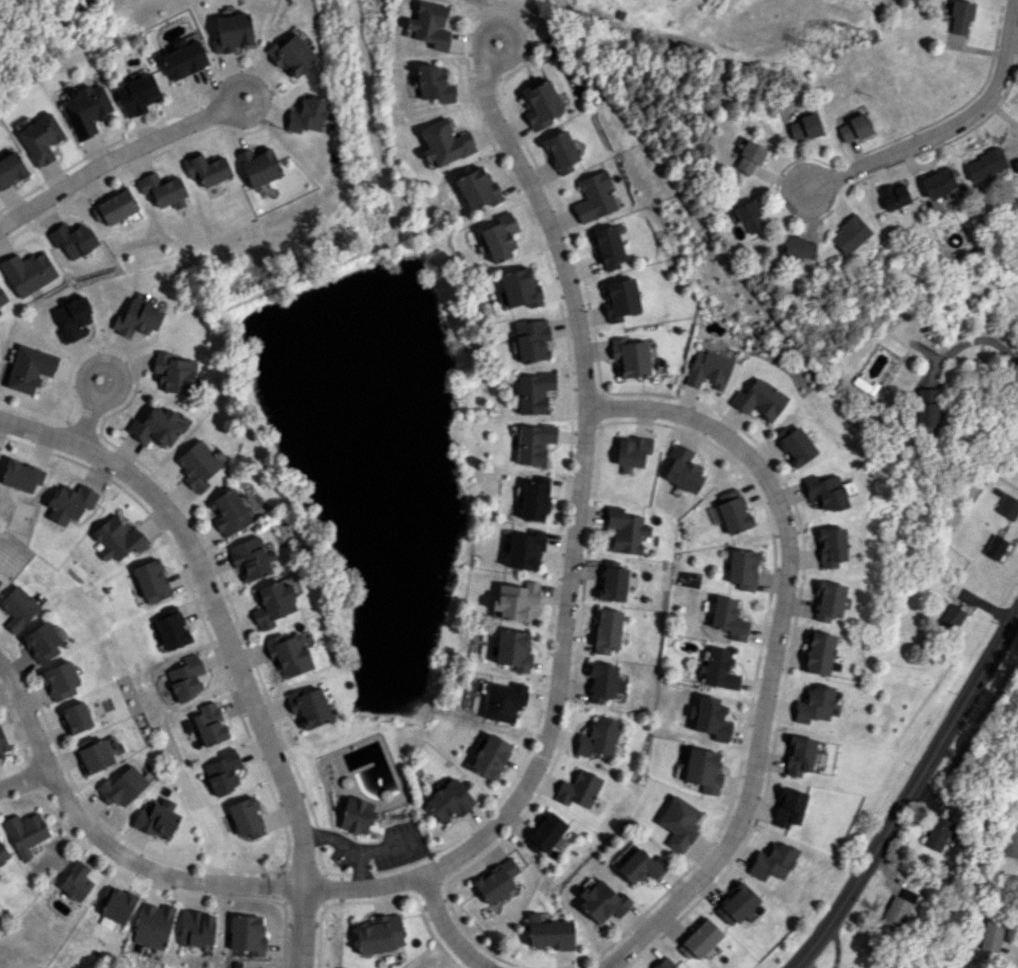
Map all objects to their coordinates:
building: (960, 17)
building: (429, 25)
building: (232, 32)
power tower: (818, 50)
building: (291, 55)
building: (184, 57)
building: (434, 84)
building: (136, 94)
building: (541, 104)
building: (86, 110)
building: (307, 115)
building: (804, 127)
building: (853, 128)
road: (934, 132)
building: (40, 138)
building: (444, 142)
building: (561, 151)
building: (749, 157)
road: (118, 158)
building: (984, 164)
building: (258, 165)
building: (11, 169)
building: (206, 169)
building: (937, 182)
building: (477, 188)
building: (162, 189)
building: (595, 196)
building: (895, 197)
building: (114, 207)
building: (749, 217)
building: (849, 235)
building: (499, 237)
building: (73, 240)
building: (609, 247)
building: (798, 248)
building: (27, 272)
building: (520, 287)
building: (2, 297)
building: (622, 298)
building: (0, 313)
building: (72, 318)
building: (136, 319)
building: (532, 340)
road: (968, 340)
building: (631, 356)
building: (30, 368)
building: (710, 369)
building: (173, 372)
building: (533, 392)
building: (760, 399)
building: (925, 407)
road: (89, 410)
building: (155, 427)
building: (533, 443)
building: (795, 445)
building: (633, 451)
building: (197, 465)
building: (683, 469)
building: (22, 475)
building: (825, 491)
building: (728, 495)
building: (534, 498)
building: (70, 503)
building: (1007, 506)
building: (228, 512)
building: (734, 515)
building: (626, 530)
building: (117, 539)
building: (830, 546)
building: (994, 547)
building: (524, 550)
building: (743, 568)
building: (0, 580)
building: (152, 581)
building: (613, 581)
building: (515, 600)
building: (828, 600)
building: (272, 603)
building: (18, 608)
building: (951, 616)
building: (728, 618)
building: (172, 628)
building: (607, 630)
road: (230, 640)
building: (42, 642)
road: (781, 646)
building: (512, 650)
building: (818, 653)
building: (288, 654)
building: (720, 669)
building: (186, 677)
building: (60, 680)
building: (605, 681)
building: (503, 701)
building: (814, 704)
building: (308, 707)
building: (76, 717)
building: (710, 718)
building: (209, 722)
building: (598, 738)
road: (547, 741)
building: (3, 744)
building: (799, 755)
building: (95, 756)
building: (490, 757)
building: (703, 770)
building: (223, 771)
road: (24, 780)
building: (122, 786)
building: (579, 789)
road: (906, 795)
building: (449, 800)
building: (788, 807)
building: (355, 815)
building: (156, 818)
building: (246, 818)
building: (679, 822)
building: (25, 832)
building: (545, 832)
building: (936, 833)
building: (1009, 841)
building: (3, 854)
building: (772, 861)
building: (641, 866)
building: (496, 880)
building: (76, 881)
building: (603, 902)
building: (116, 903)
building: (736, 903)
building: (897, 909)
road: (447, 923)
building: (152, 925)
building: (195, 928)
building: (550, 932)
building: (247, 934)
building: (378, 934)
building: (991, 935)
building: (699, 939)
building: (664, 963)
building: (849, 967)

